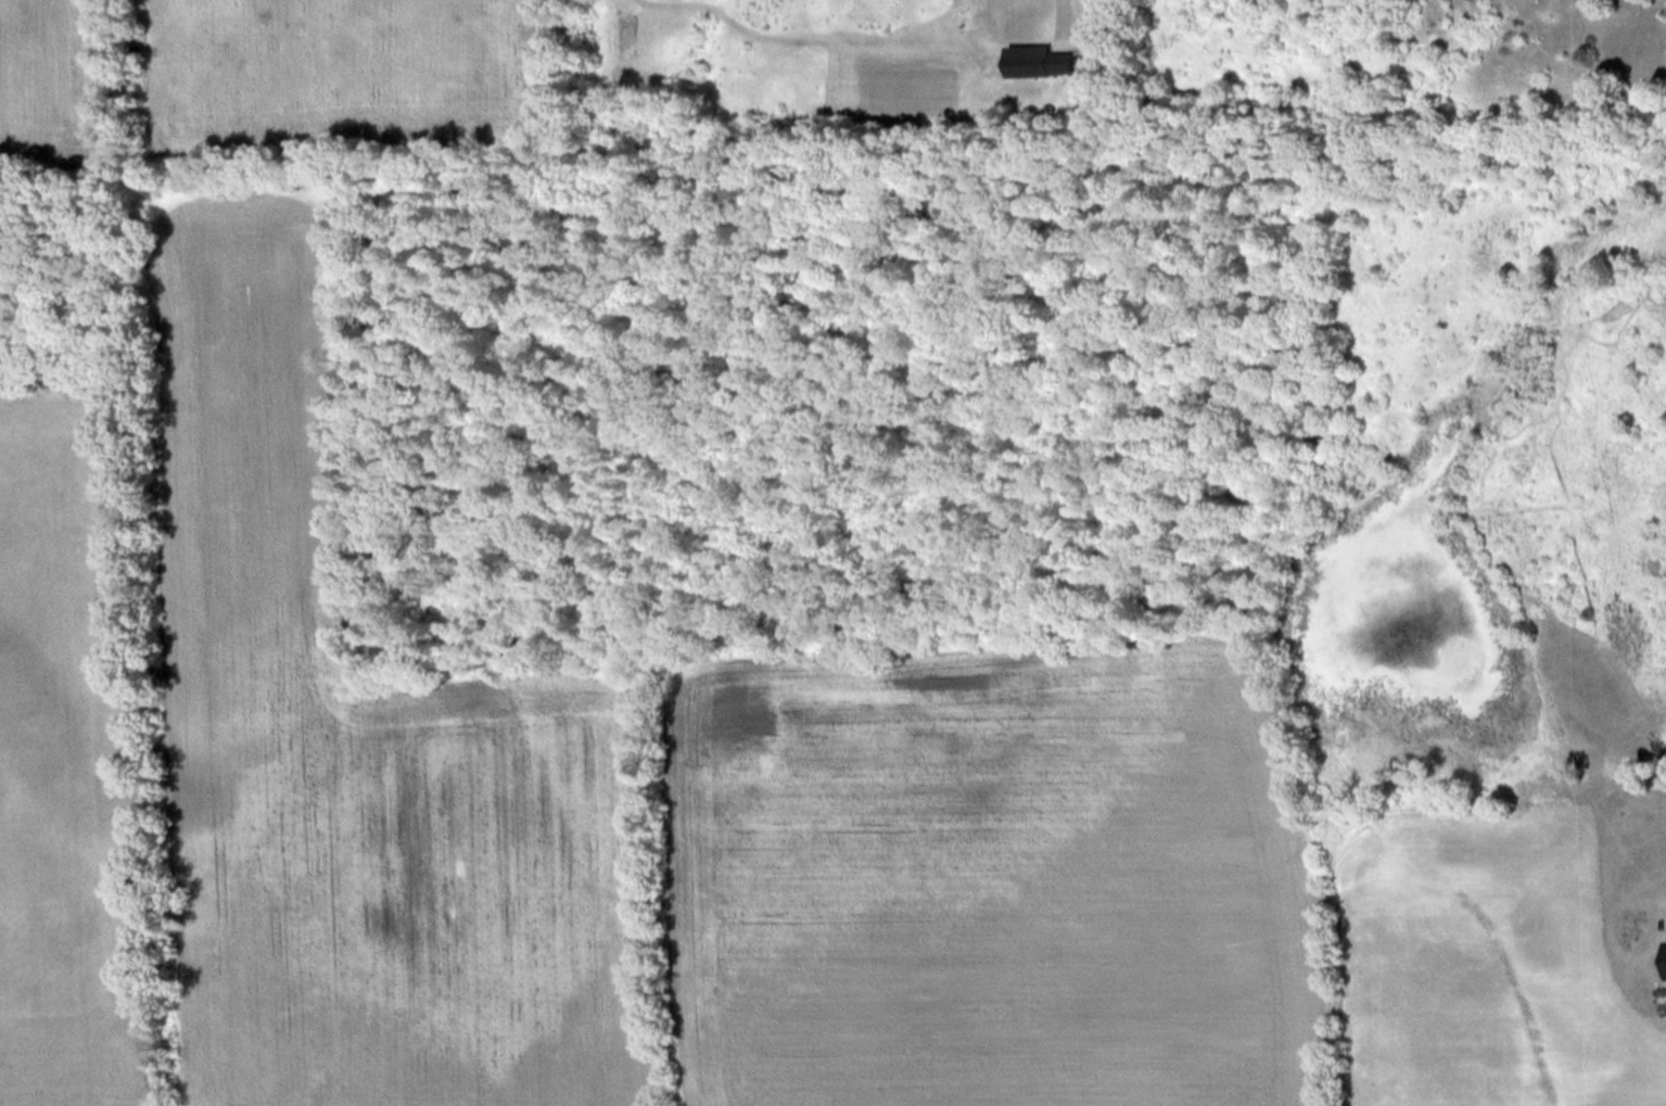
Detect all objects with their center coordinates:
road: (1061, 15)
road: (1297, 379)

